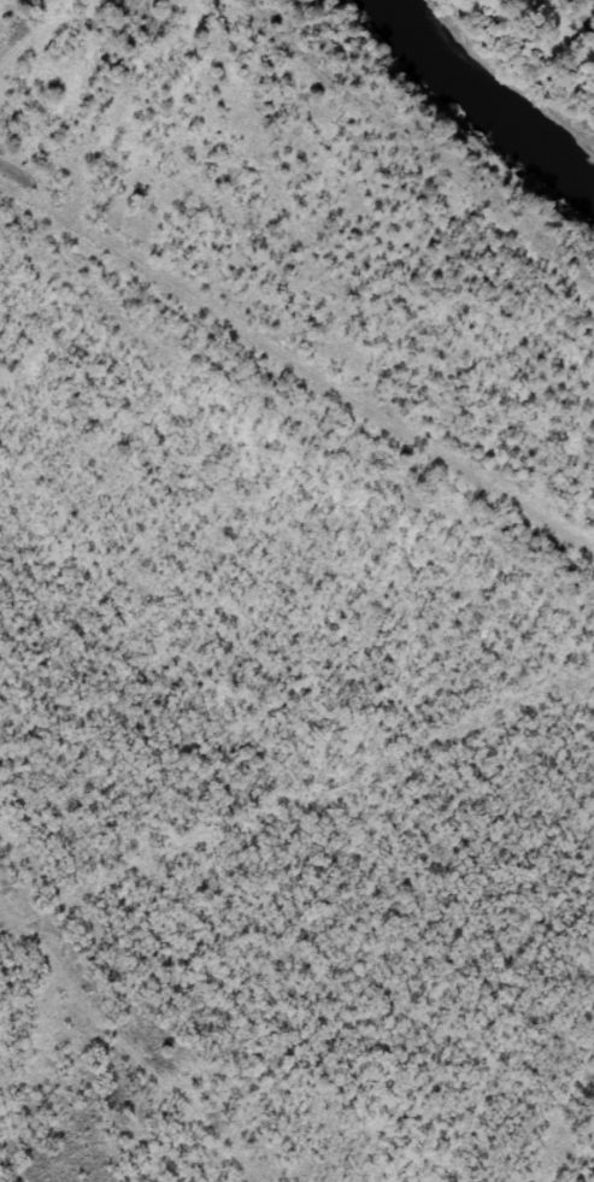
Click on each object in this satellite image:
river: (474, 110)
railway: (296, 353)

